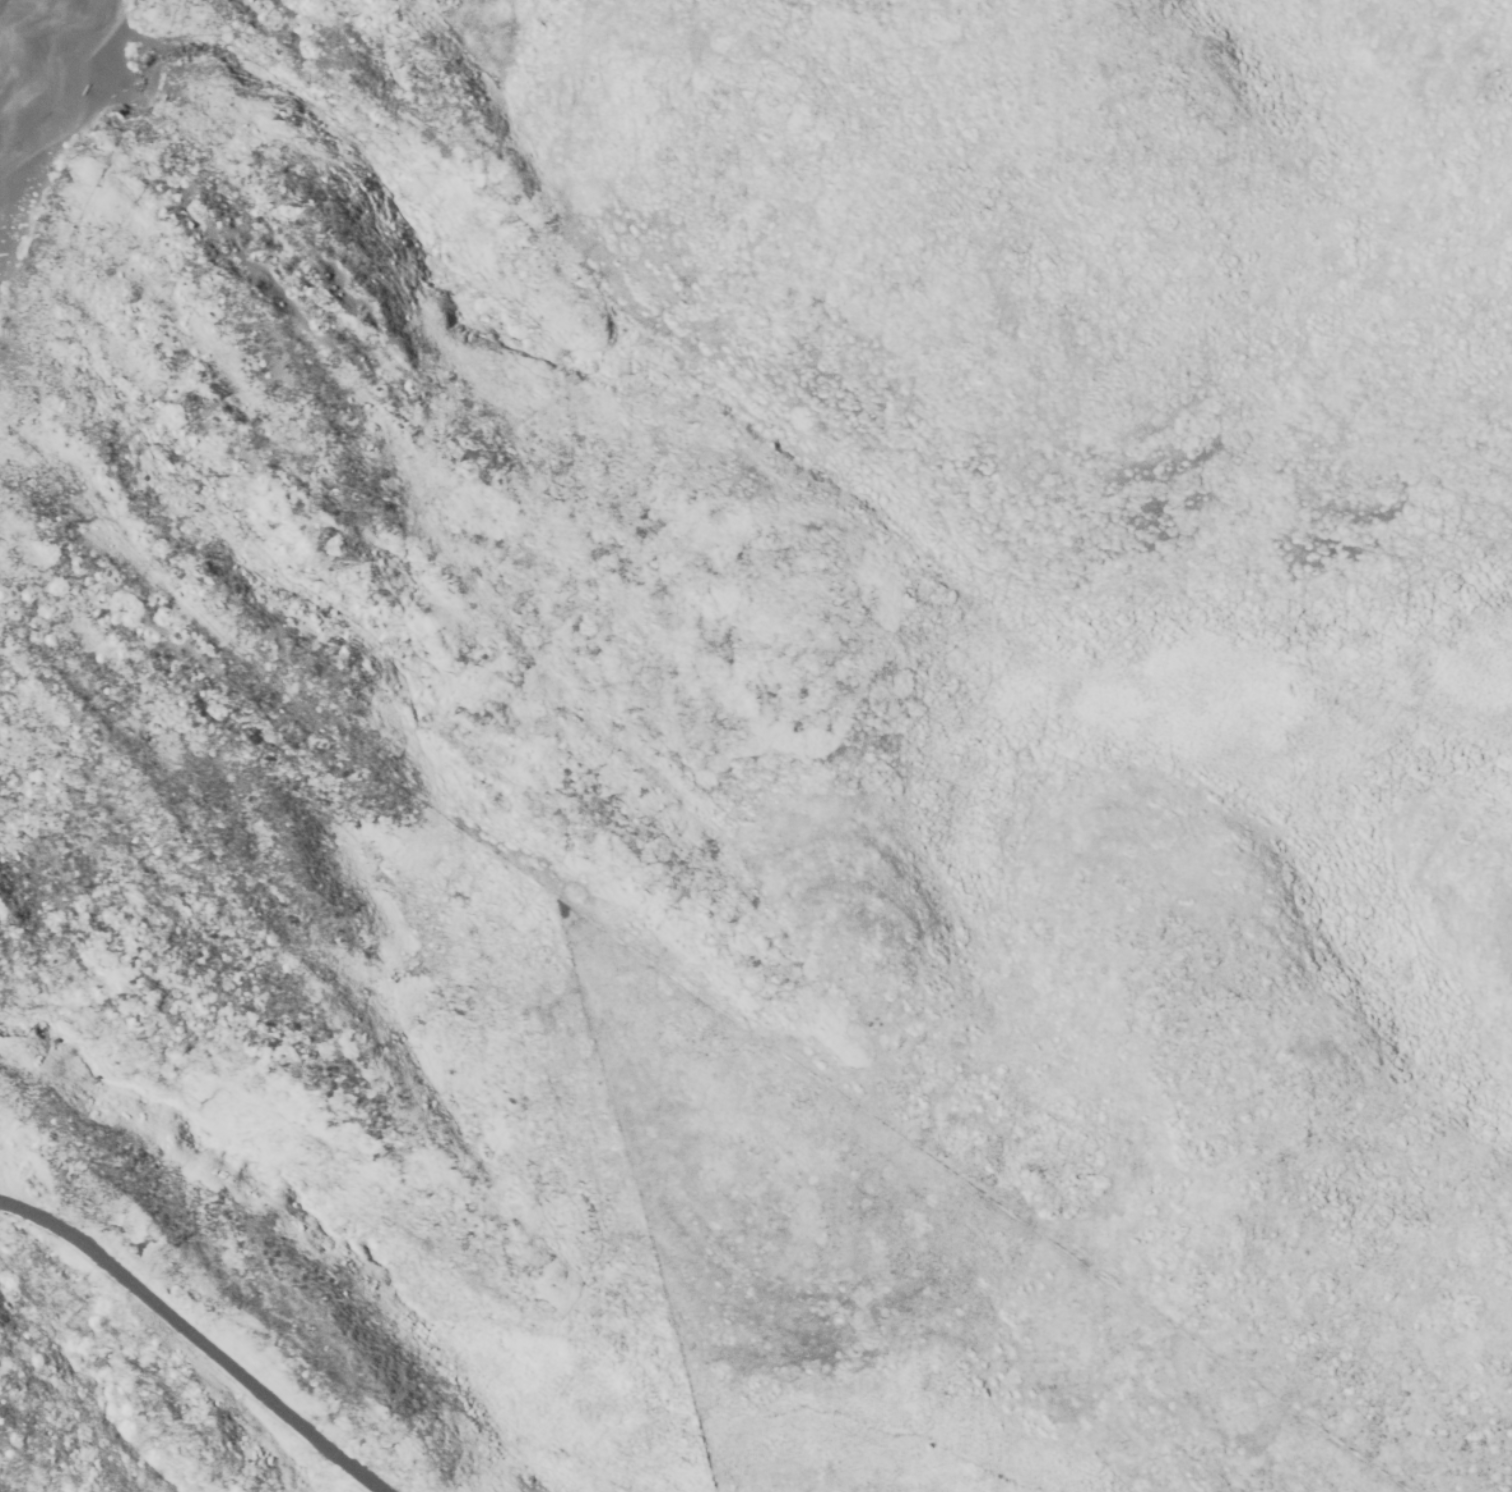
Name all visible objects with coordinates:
road: (194, 1340)

